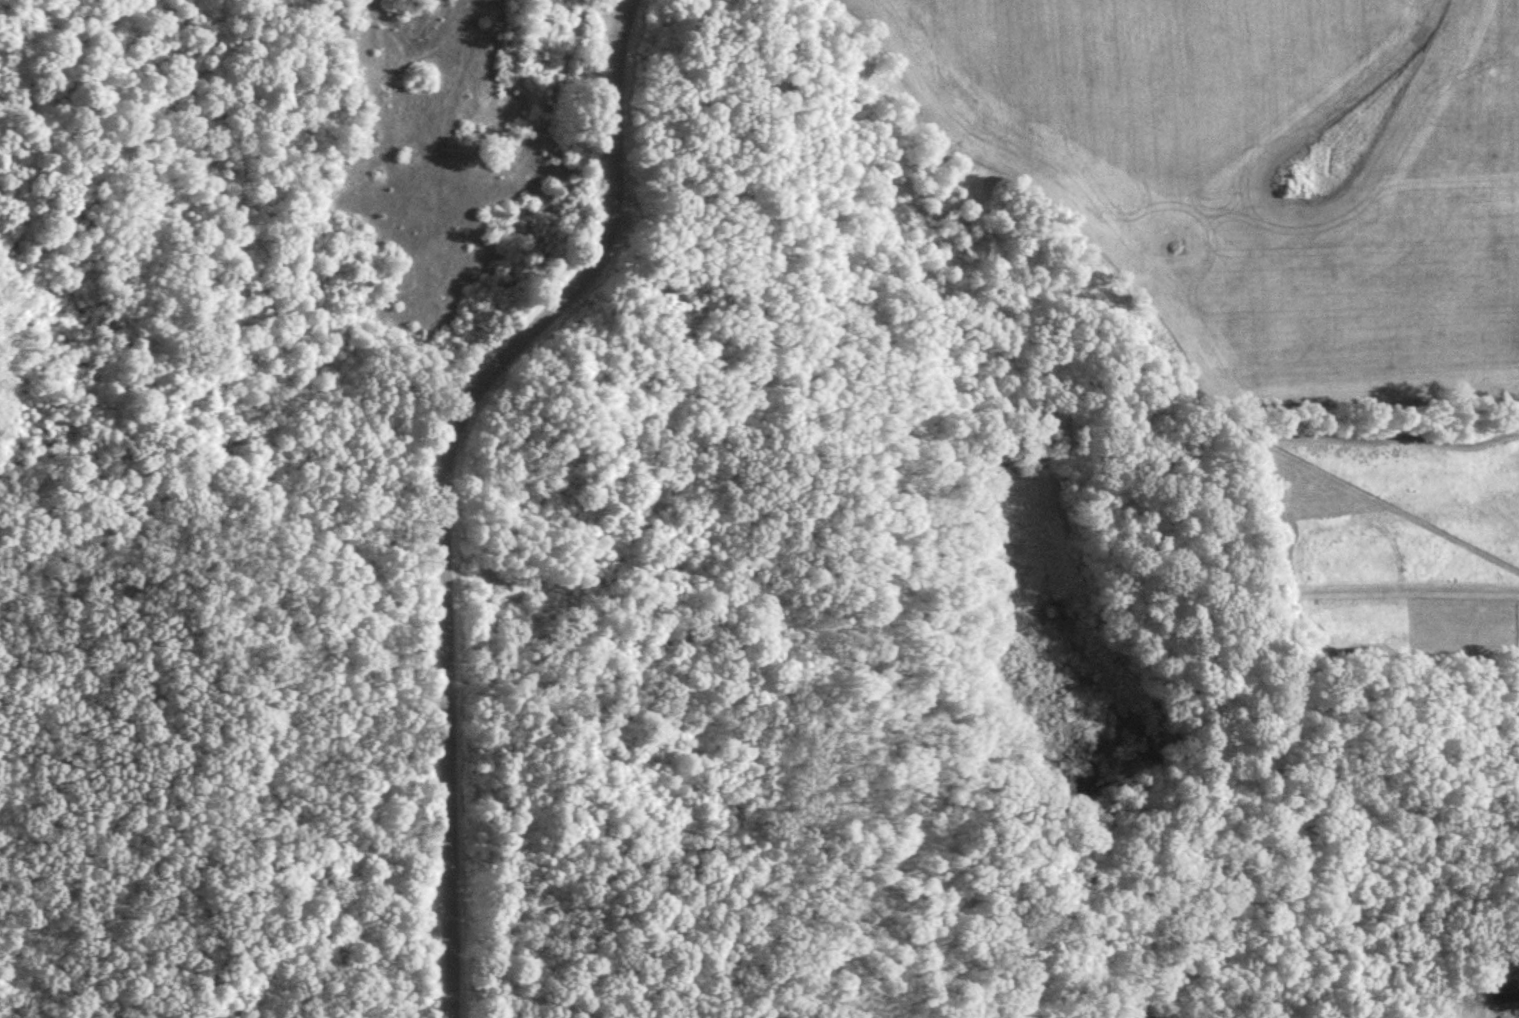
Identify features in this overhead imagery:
road: (307, 202)
road: (446, 478)
road: (64, 653)
road: (304, 811)
building: (1500, 993)

